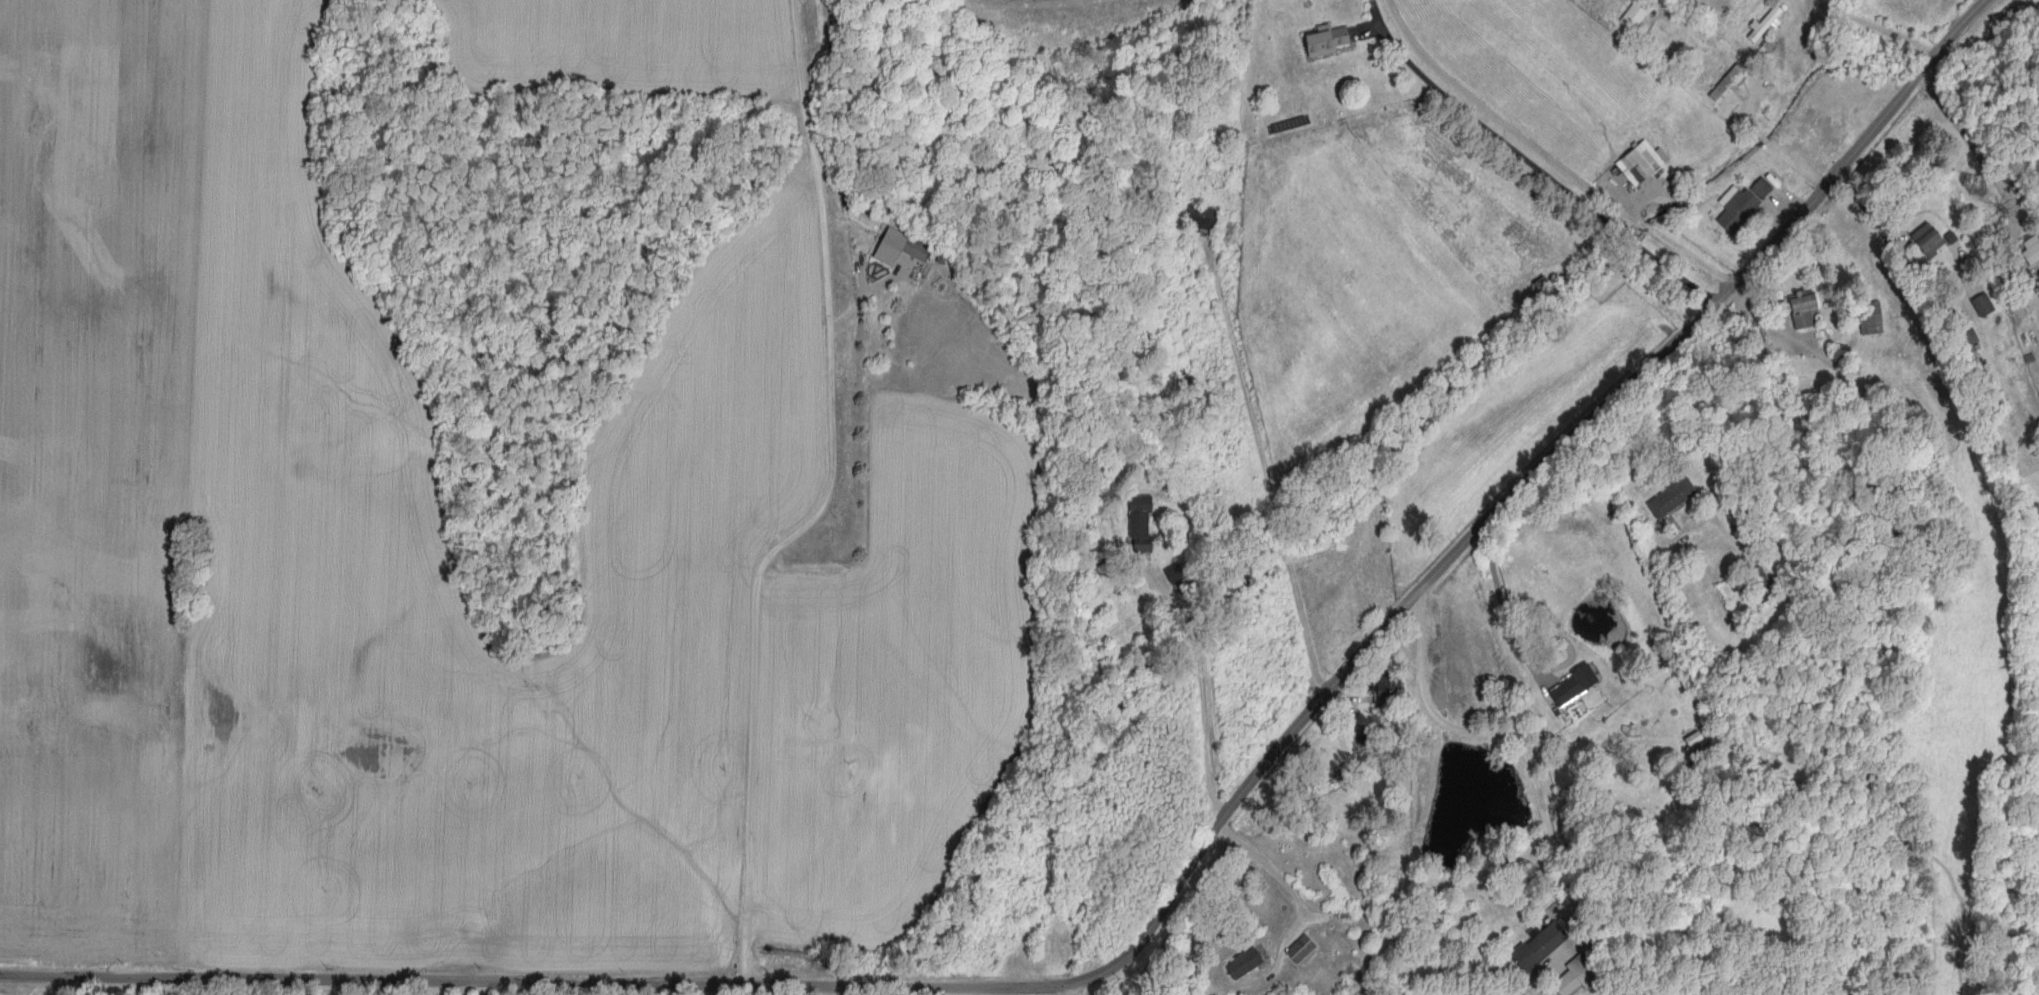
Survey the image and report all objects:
building: (1636, 18)
building: (1768, 25)
building: (1329, 39)
road: (1766, 139)
road: (1975, 144)
road: (1551, 154)
building: (1642, 162)
building: (1747, 205)
building: (1205, 219)
building: (1931, 241)
building: (903, 248)
building: (2032, 251)
building: (2031, 281)
building: (1547, 288)
building: (1986, 306)
building: (1806, 311)
building: (1875, 319)
building: (1973, 339)
road: (1718, 428)
road: (1268, 474)
building: (1674, 498)
road: (827, 506)
building: (1143, 524)
building: (1765, 586)
road: (1522, 646)
road: (1206, 677)
building: (1576, 686)
building: (1390, 690)
road: (1493, 735)
building: (1401, 877)
road: (1287, 887)
road: (1170, 893)
building: (1542, 946)
building: (1304, 949)
building: (1247, 963)
building: (1583, 974)
road: (467, 988)
road: (1065, 989)

